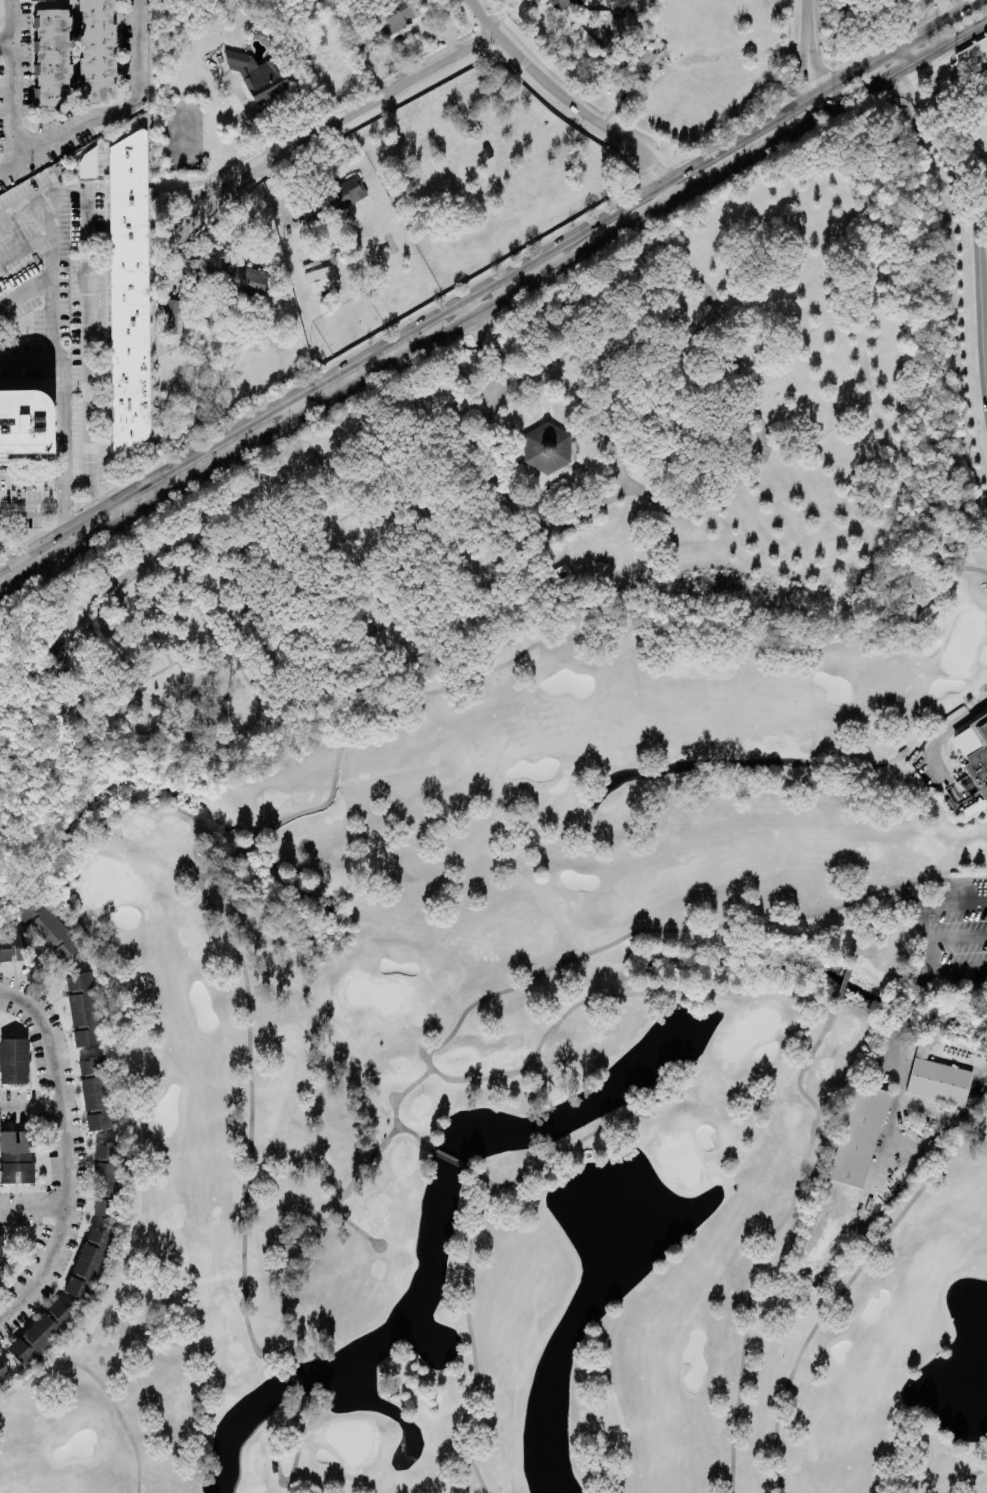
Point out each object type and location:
road: (962, 2)
building: (566, 3)
building: (385, 23)
road: (948, 40)
road: (5, 43)
road: (400, 43)
building: (97, 50)
building: (52, 56)
road: (811, 57)
building: (639, 66)
building: (258, 76)
road: (936, 79)
road: (12, 80)
road: (866, 87)
road: (915, 91)
road: (570, 101)
road: (363, 109)
road: (114, 112)
road: (255, 118)
road: (753, 152)
building: (88, 163)
building: (349, 190)
road: (170, 227)
road: (26, 246)
road: (979, 256)
building: (249, 278)
road: (485, 282)
road: (27, 291)
building: (129, 291)
road: (465, 307)
building: (171, 315)
road: (59, 331)
road: (89, 349)
road: (30, 360)
road: (341, 392)
road: (294, 407)
building: (29, 423)
building: (546, 447)
road: (32, 477)
park: (526, 498)
road: (122, 507)
road: (31, 509)
building: (561, 575)
building: (57, 651)
road: (935, 739)
building: (972, 749)
building: (973, 808)
building: (39, 914)
road: (925, 936)
road: (956, 938)
building: (15, 946)
road: (917, 986)
building: (83, 1009)
road: (905, 1012)
park: (566, 1053)
building: (14, 1060)
building: (936, 1077)
road: (897, 1090)
building: (95, 1093)
road: (31, 1106)
building: (858, 1135)
road: (66, 1152)
building: (16, 1156)
building: (107, 1168)
road: (34, 1204)
building: (106, 1206)
building: (0, 1258)
building: (89, 1262)
building: (42, 1333)
building: (3, 1373)
building: (274, 1468)

